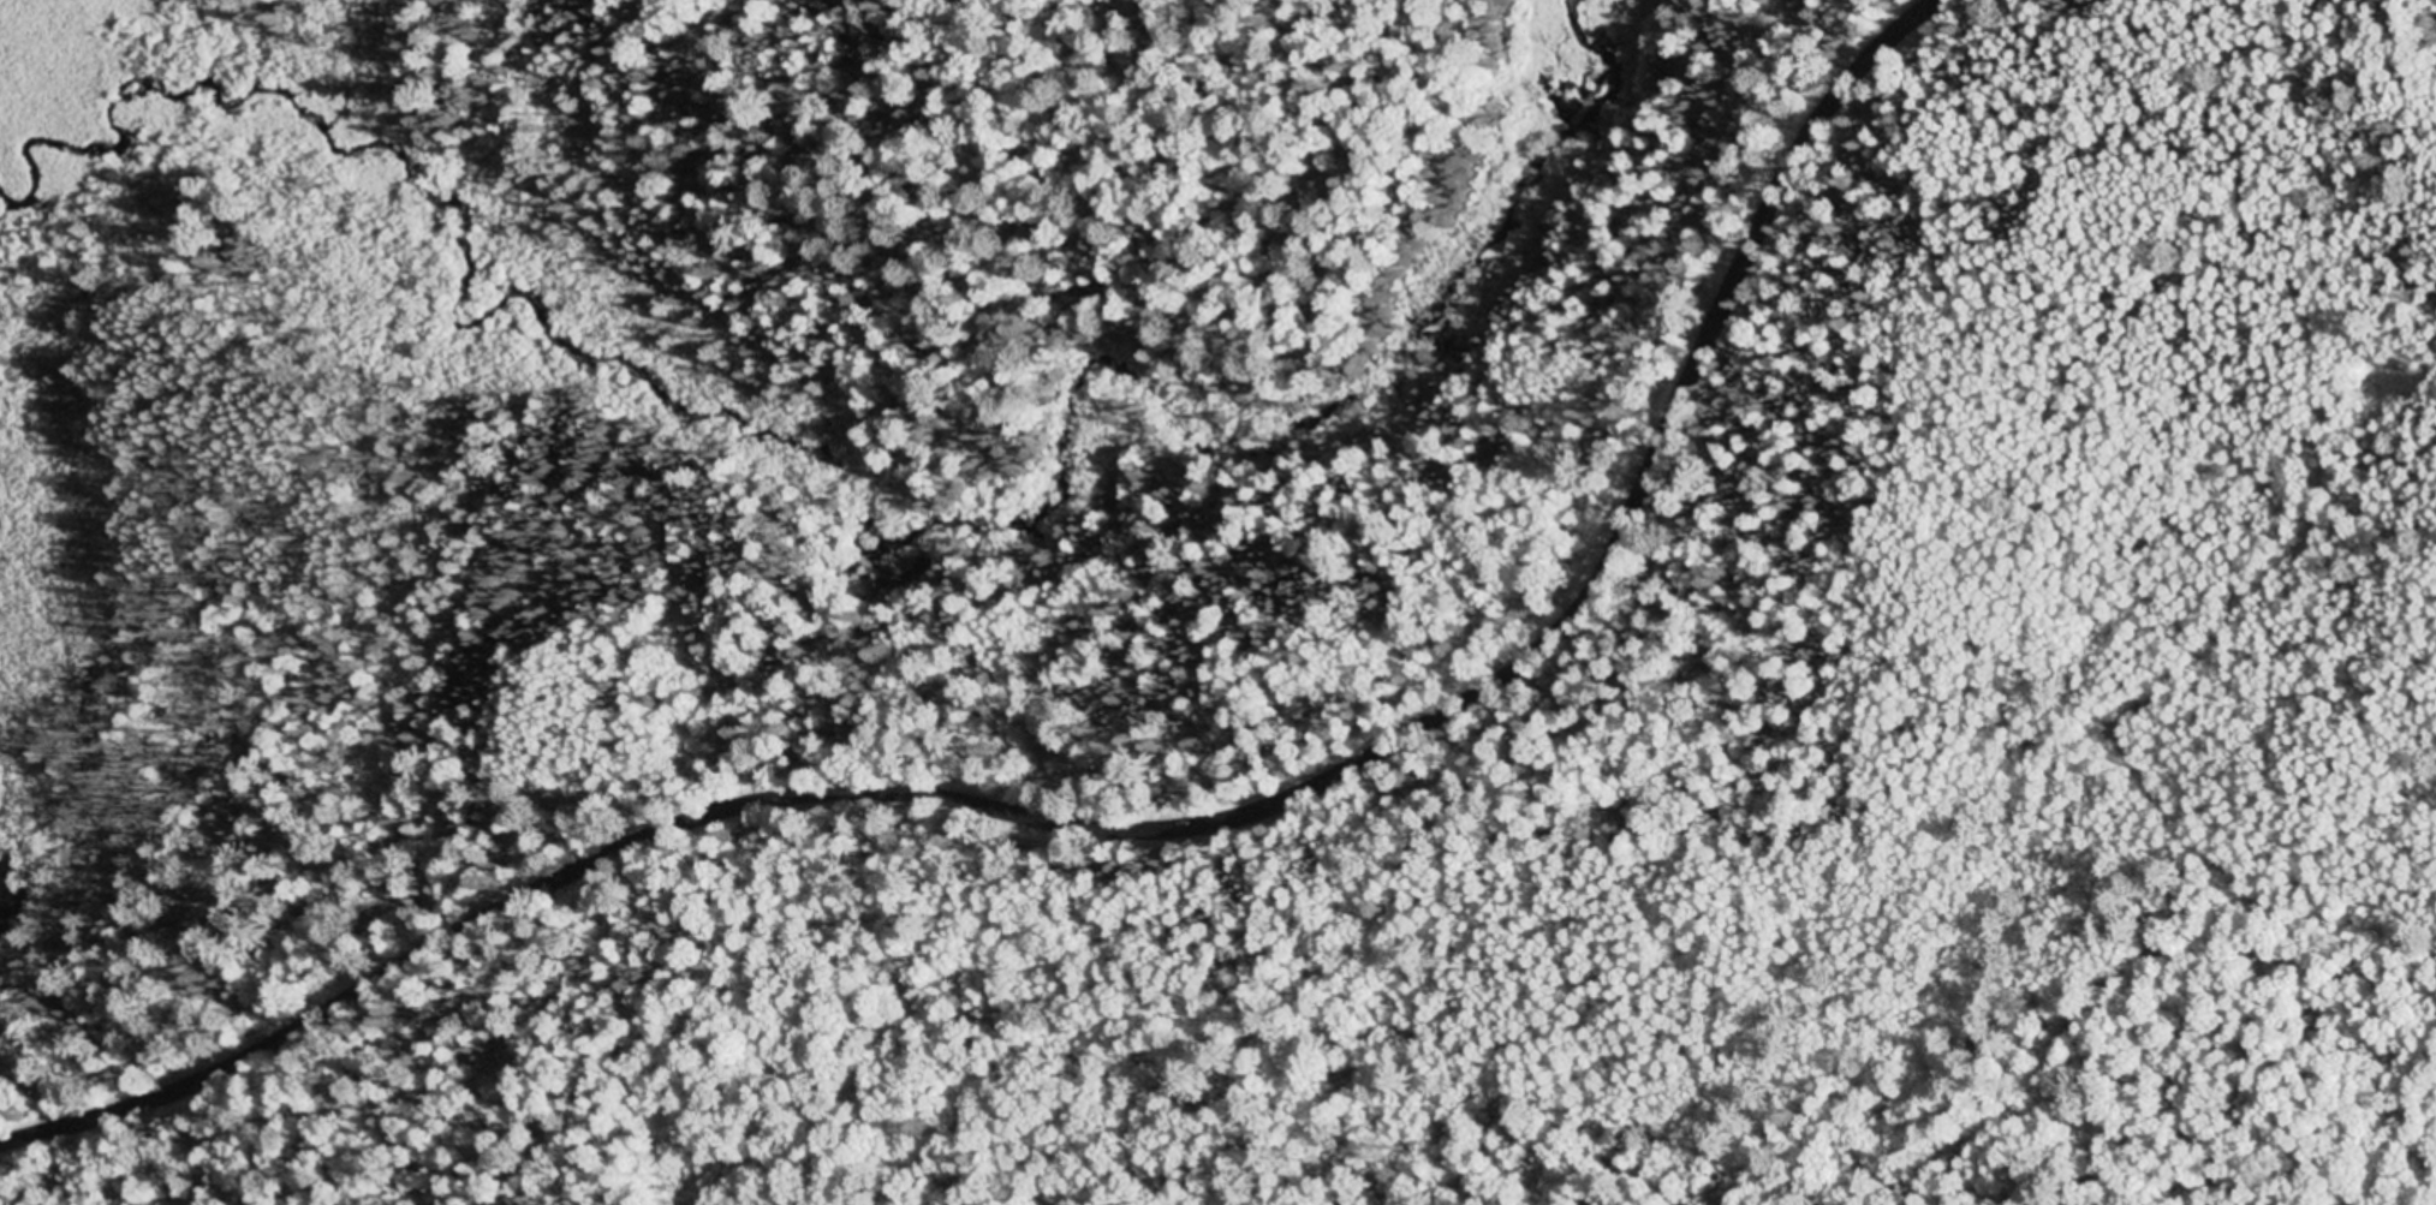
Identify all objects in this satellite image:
road: (1138, 822)

